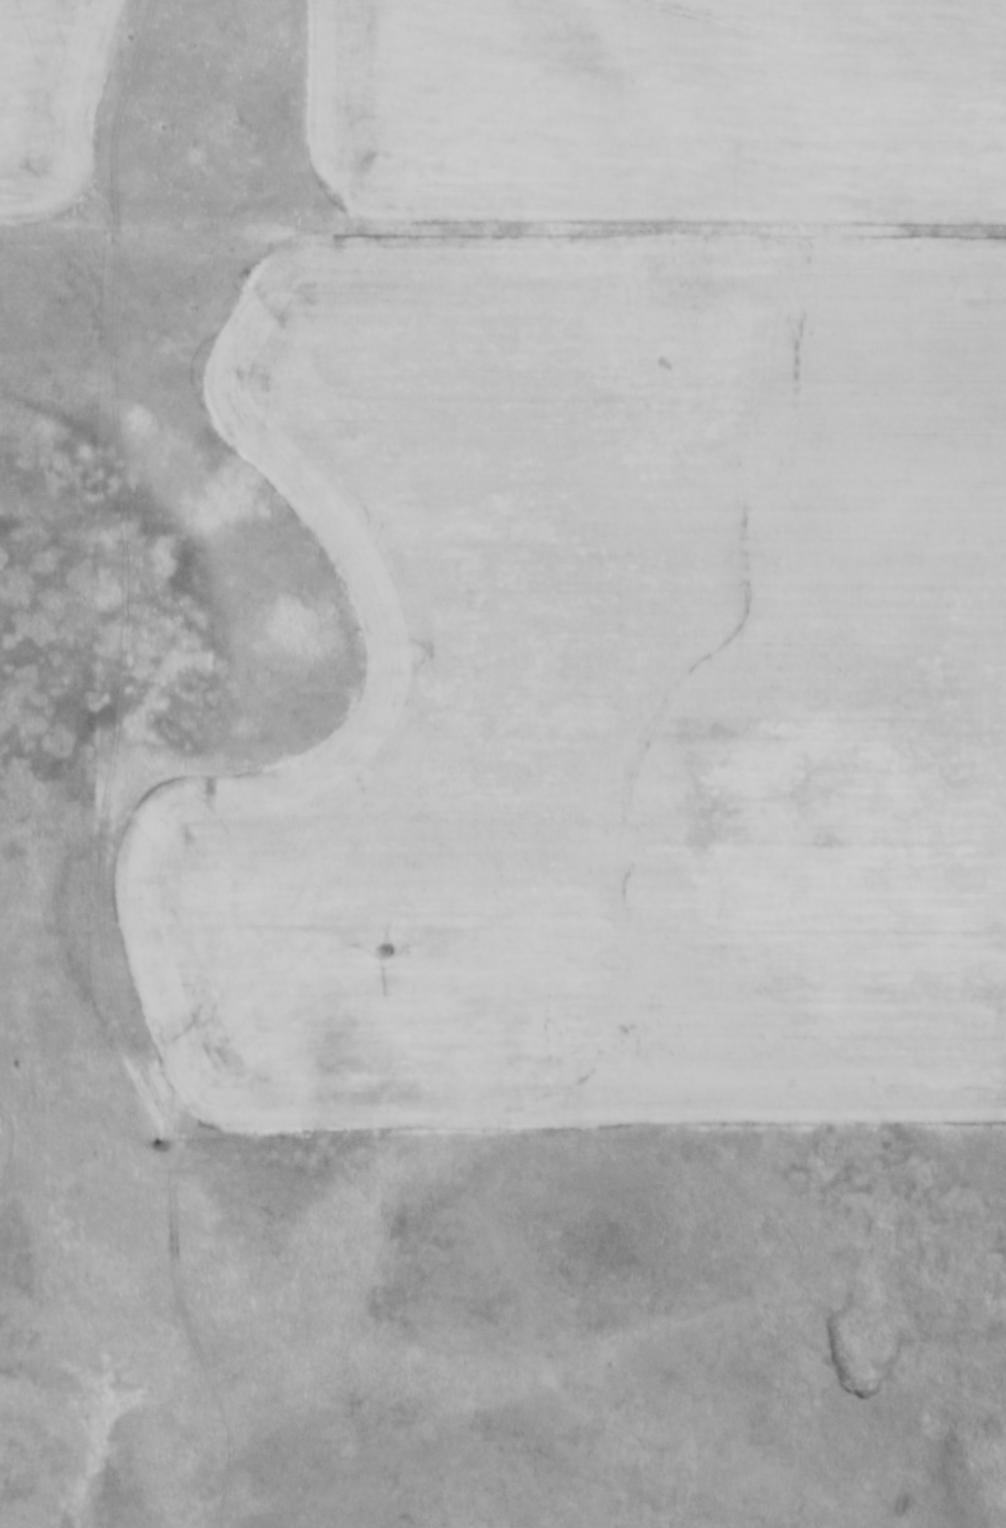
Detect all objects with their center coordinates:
road: (223, 1394)

